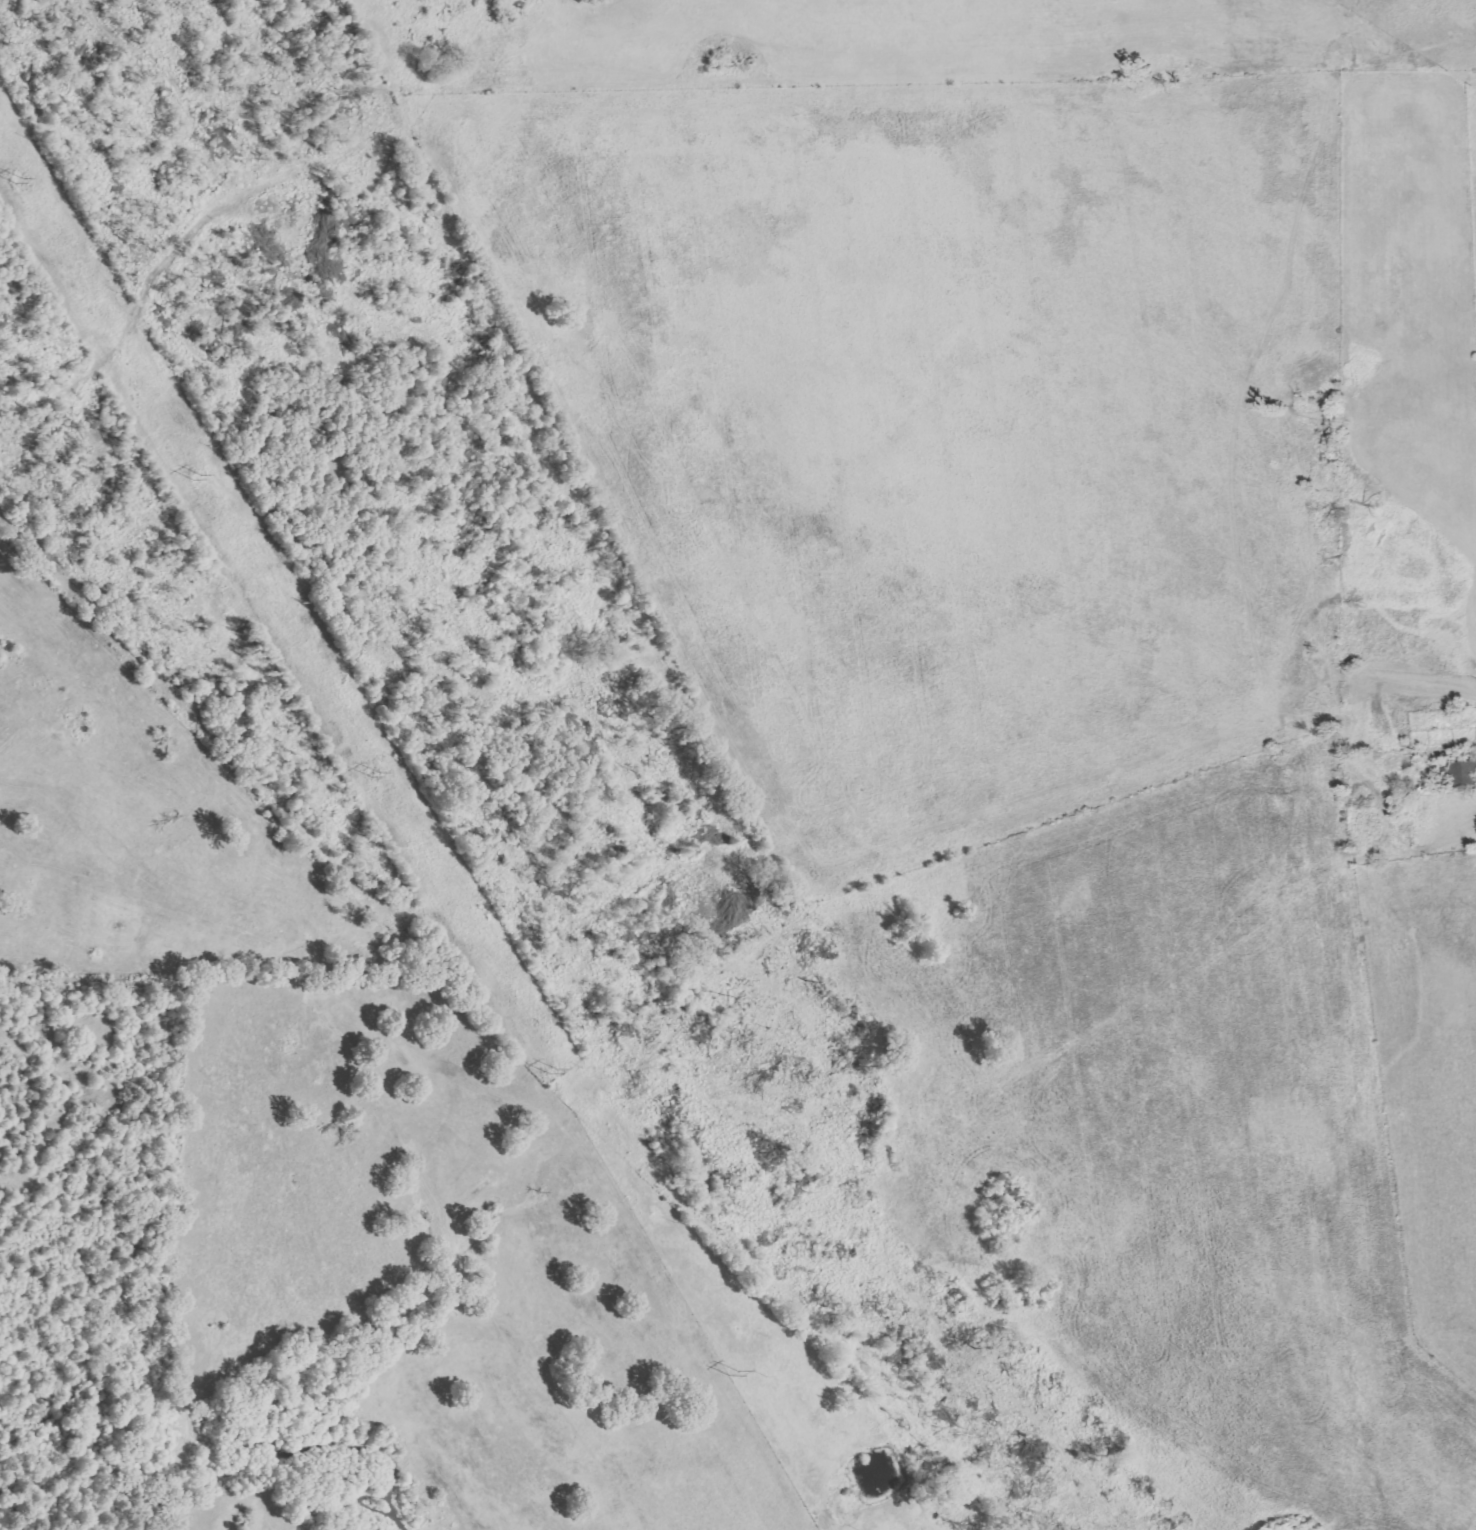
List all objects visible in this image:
building: (1462, 771)

